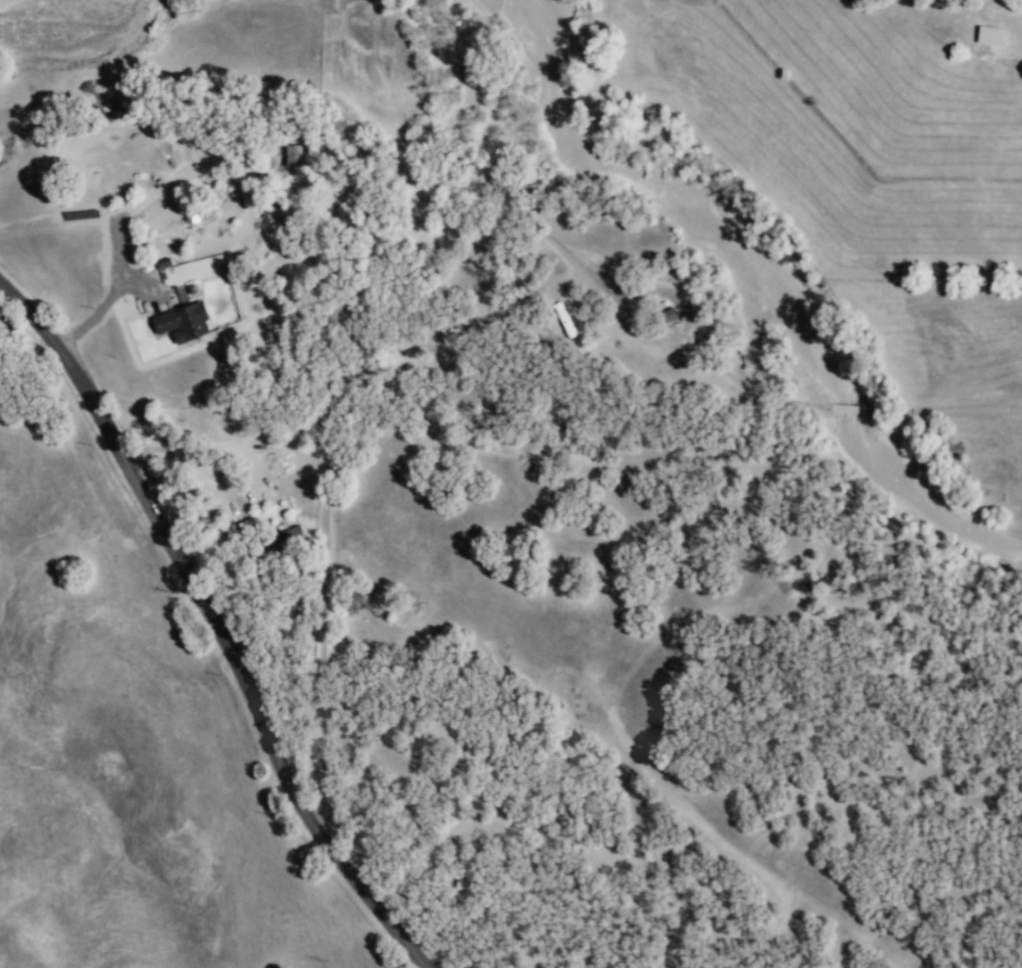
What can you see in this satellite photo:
building: (988, 36)
building: (293, 155)
river: (675, 198)
road: (99, 306)
building: (181, 323)
river: (919, 500)
building: (243, 527)
building: (285, 539)
road: (323, 541)
road: (215, 624)

